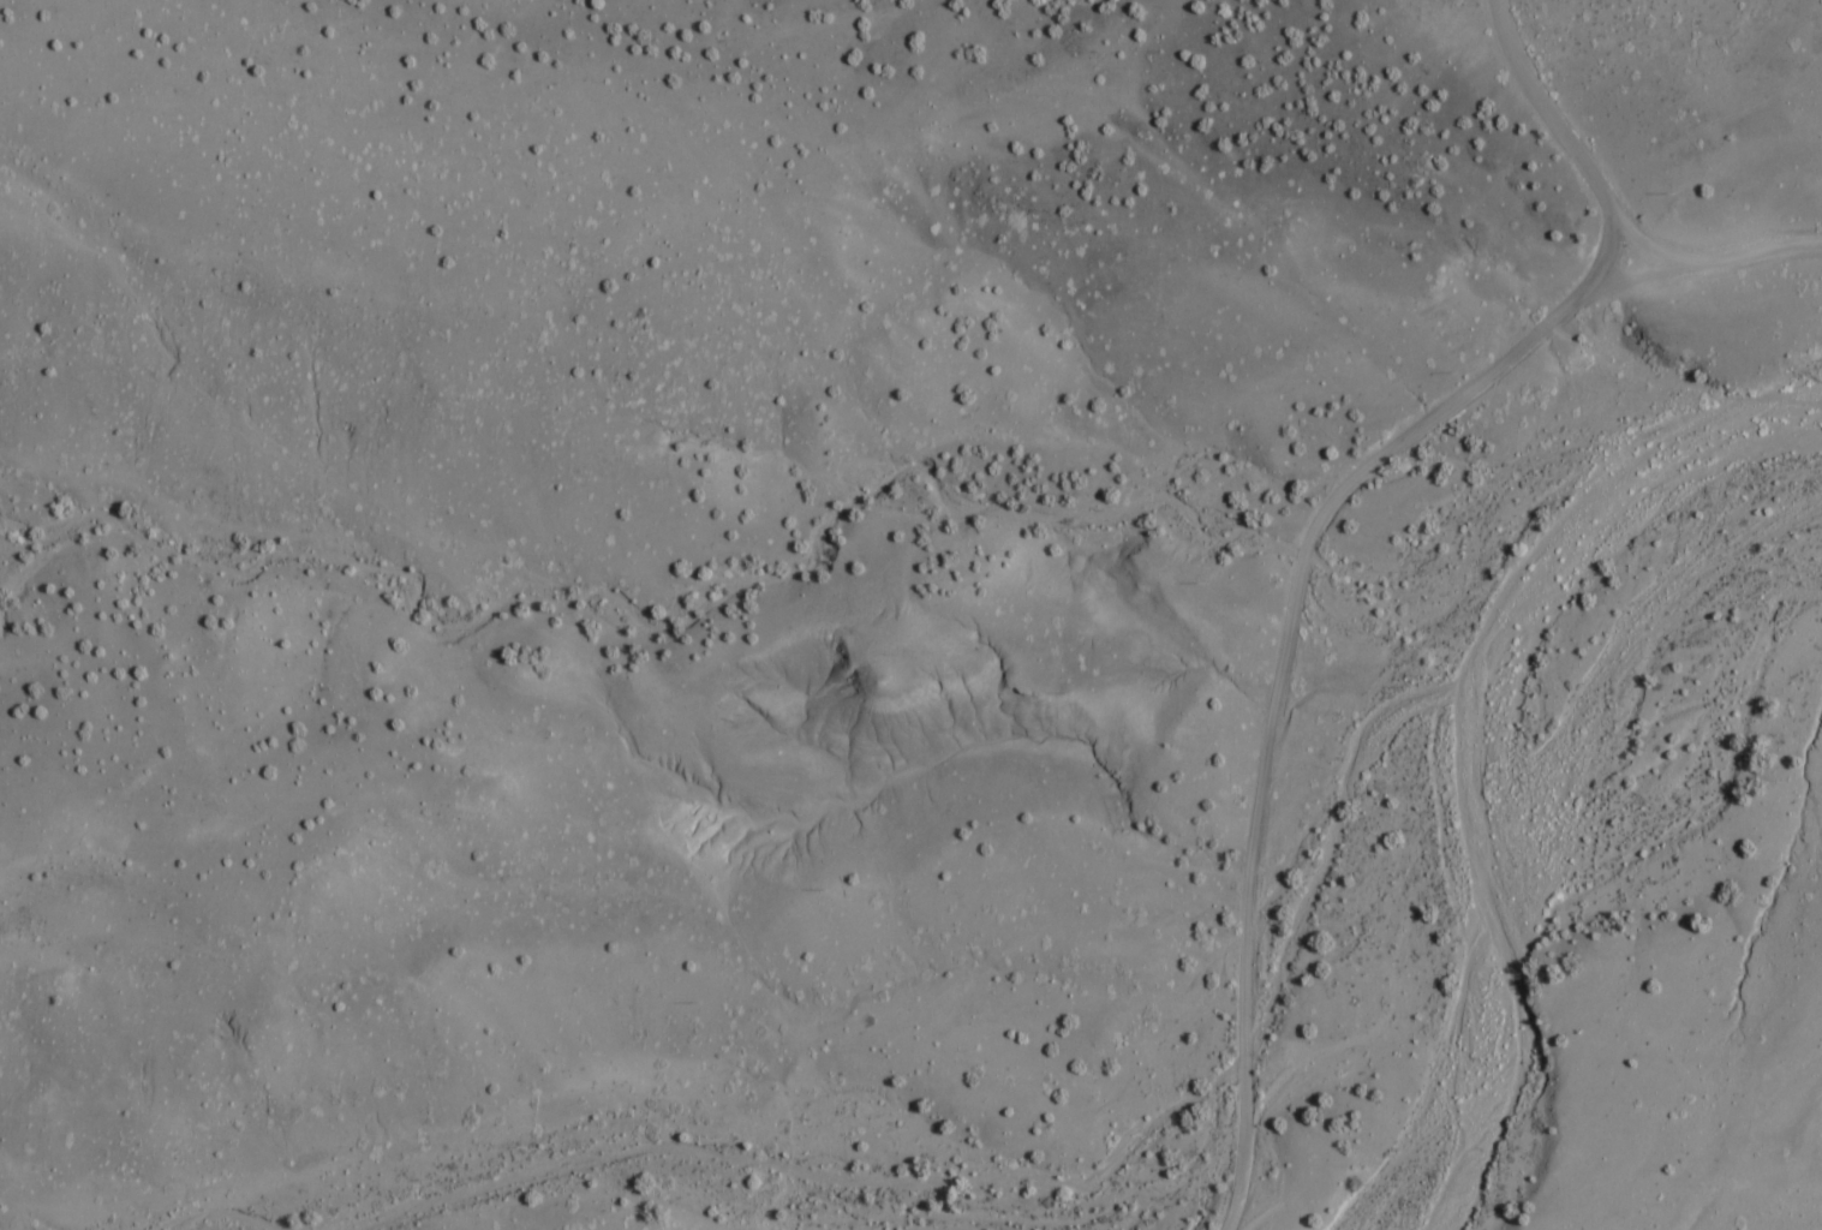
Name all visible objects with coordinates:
road: (1560, 118)
road: (1660, 253)
road: (1613, 264)
road: (1297, 583)

